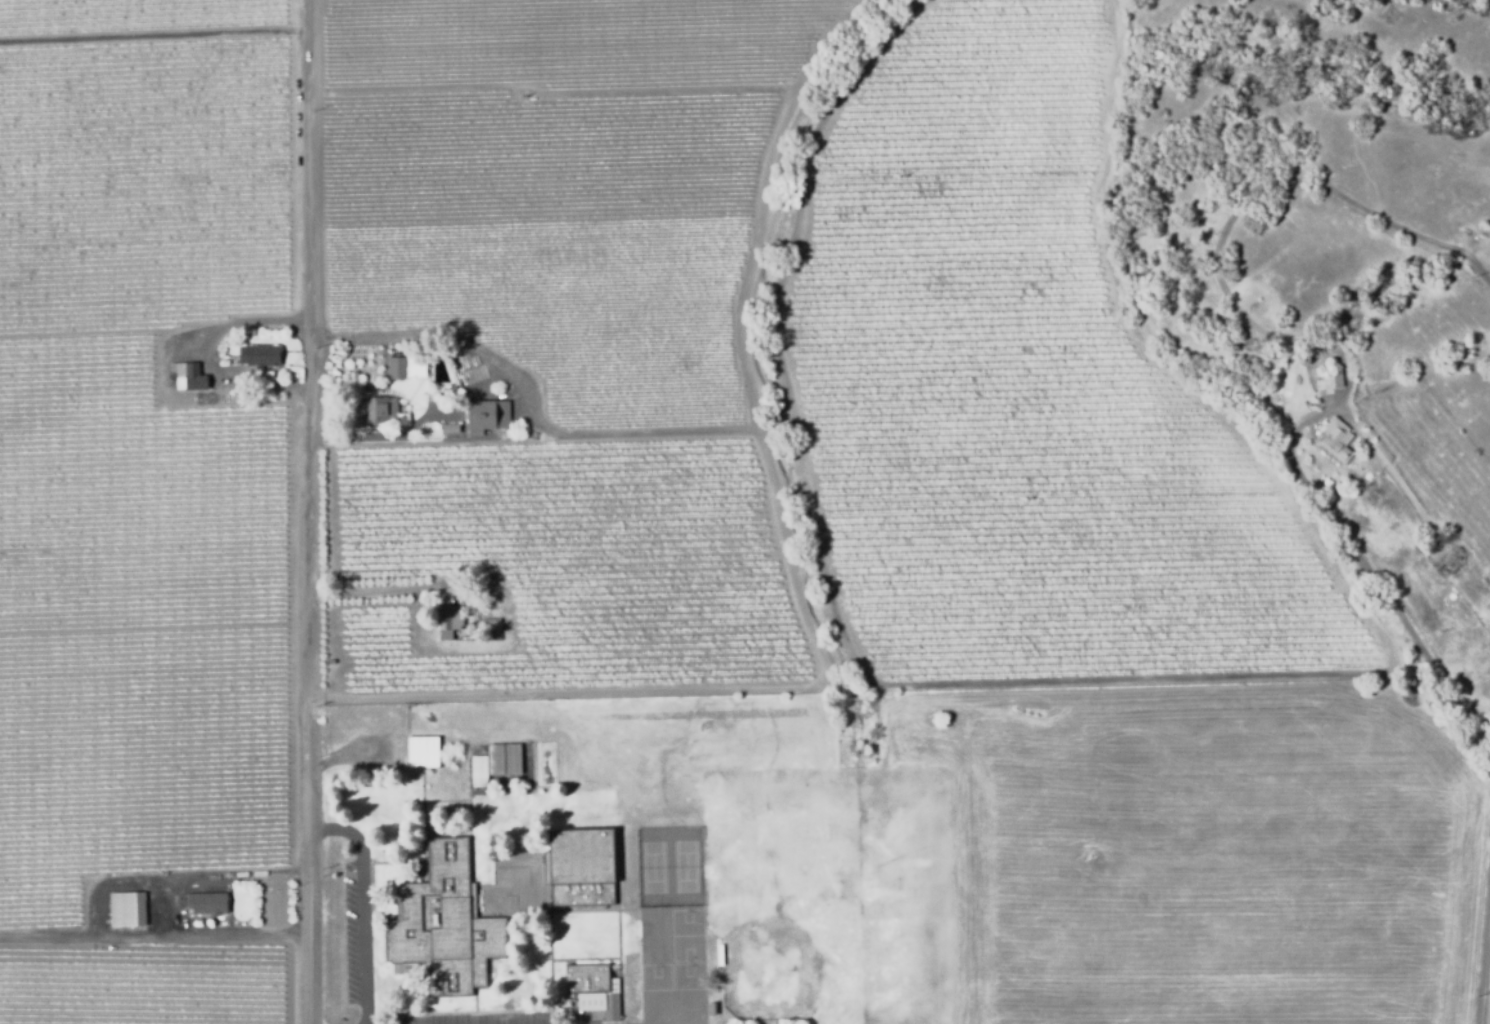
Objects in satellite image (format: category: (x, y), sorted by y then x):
road: (155, 33)
road: (437, 335)
road: (200, 354)
building: (259, 358)
building: (408, 368)
building: (292, 371)
building: (266, 377)
building: (189, 378)
building: (1328, 381)
building: (375, 411)
building: (487, 418)
building: (450, 430)
building: (1335, 441)
road: (307, 512)
road: (1357, 540)
building: (1451, 564)
building: (473, 589)
road: (378, 590)
building: (492, 626)
building: (449, 627)
building: (423, 754)
building: (513, 761)
building: (496, 762)
building: (479, 773)
park: (667, 866)
building: (580, 869)
road: (213, 875)
park: (829, 898)
building: (205, 903)
road: (363, 905)
building: (133, 909)
building: (434, 919)
road: (237, 934)
road: (80, 938)
building: (720, 956)
road: (1486, 987)
building: (596, 992)
building: (711, 1010)
building: (789, 1022)

